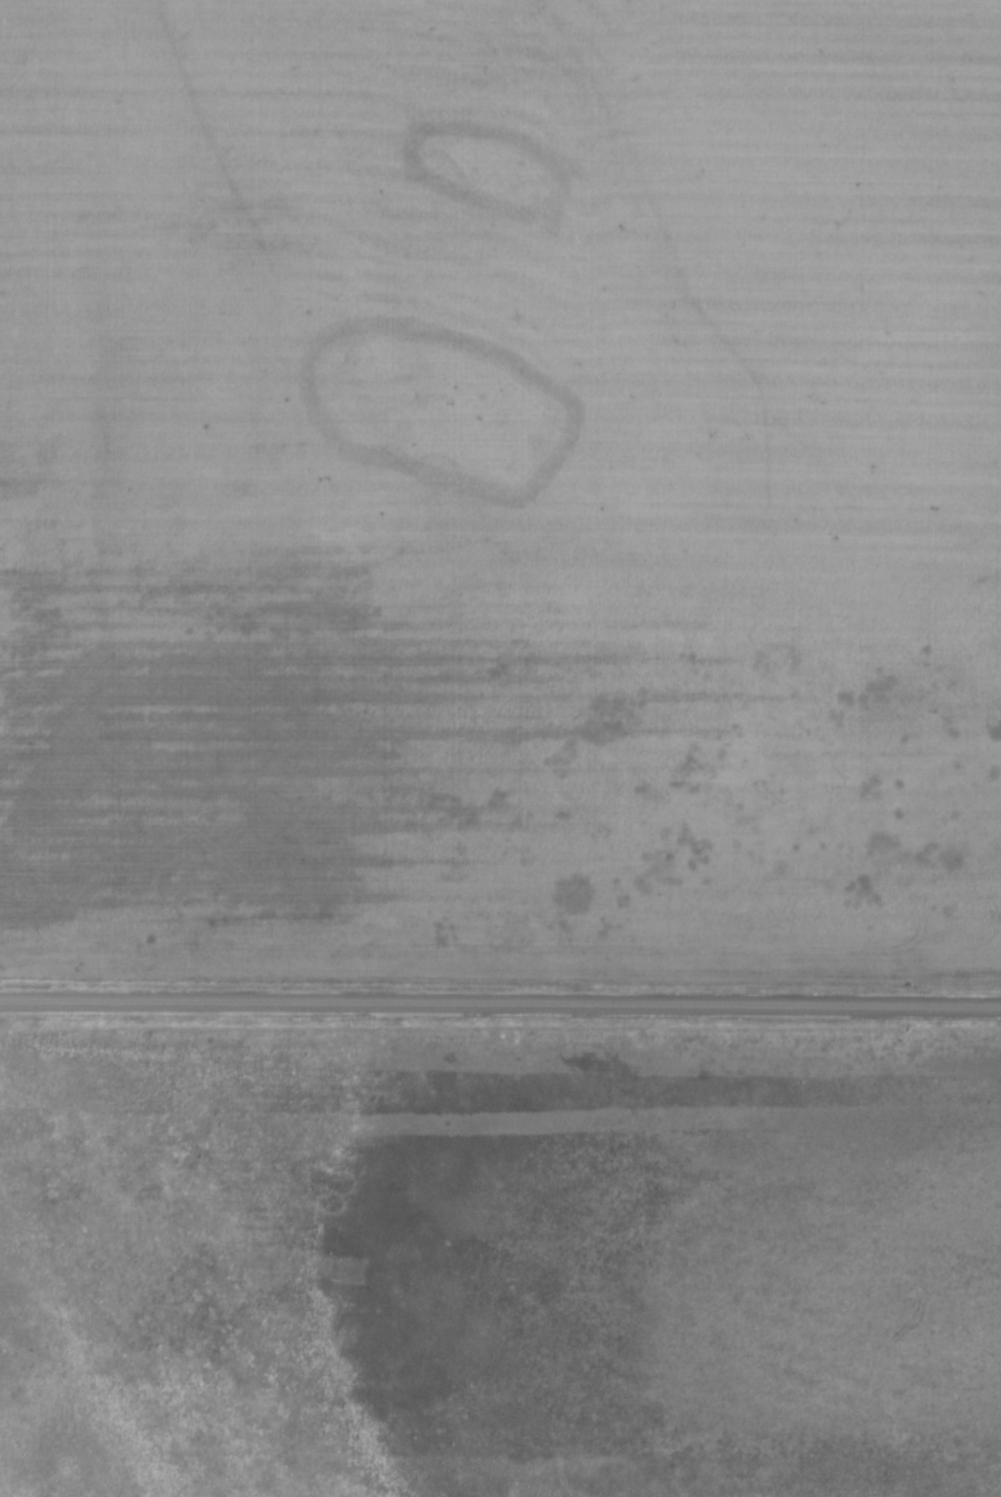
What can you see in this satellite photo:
crop: (501, 489)
road: (500, 1004)

